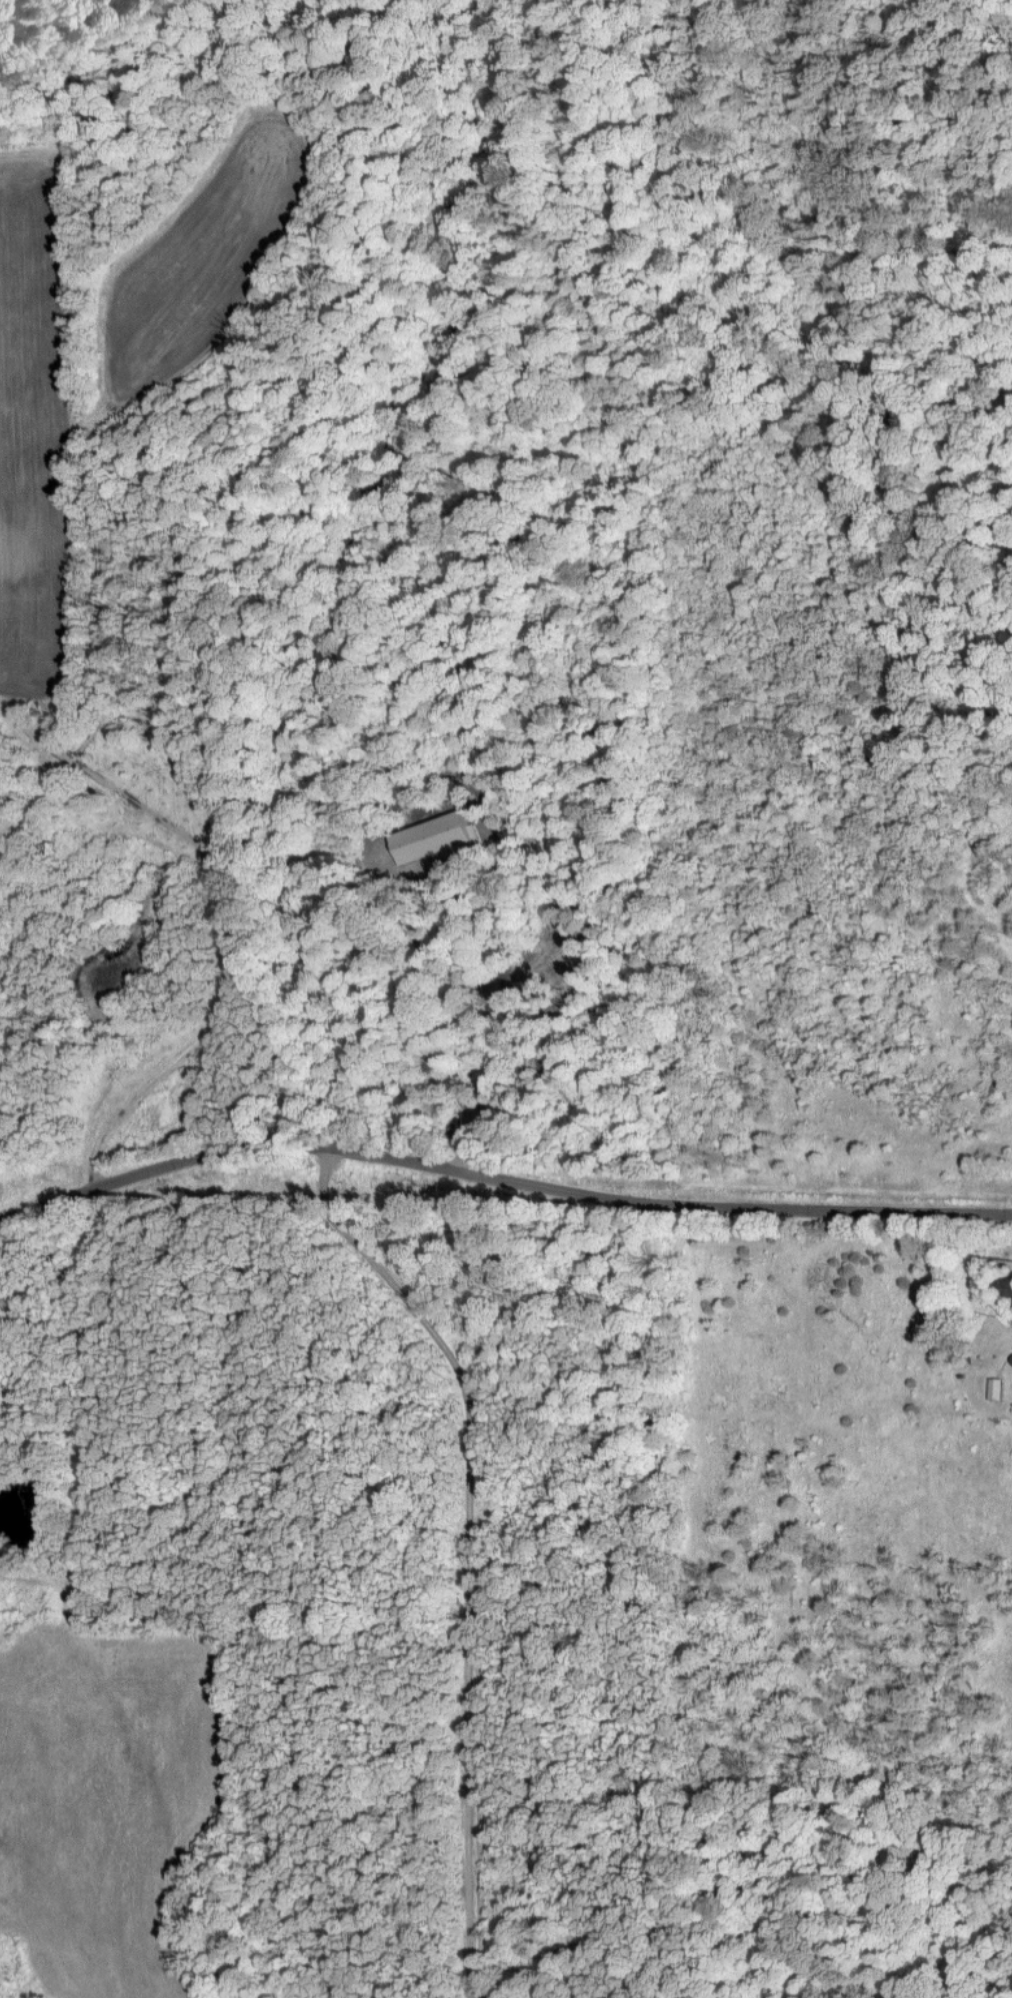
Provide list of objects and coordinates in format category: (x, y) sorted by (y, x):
road: (499, 1177)

